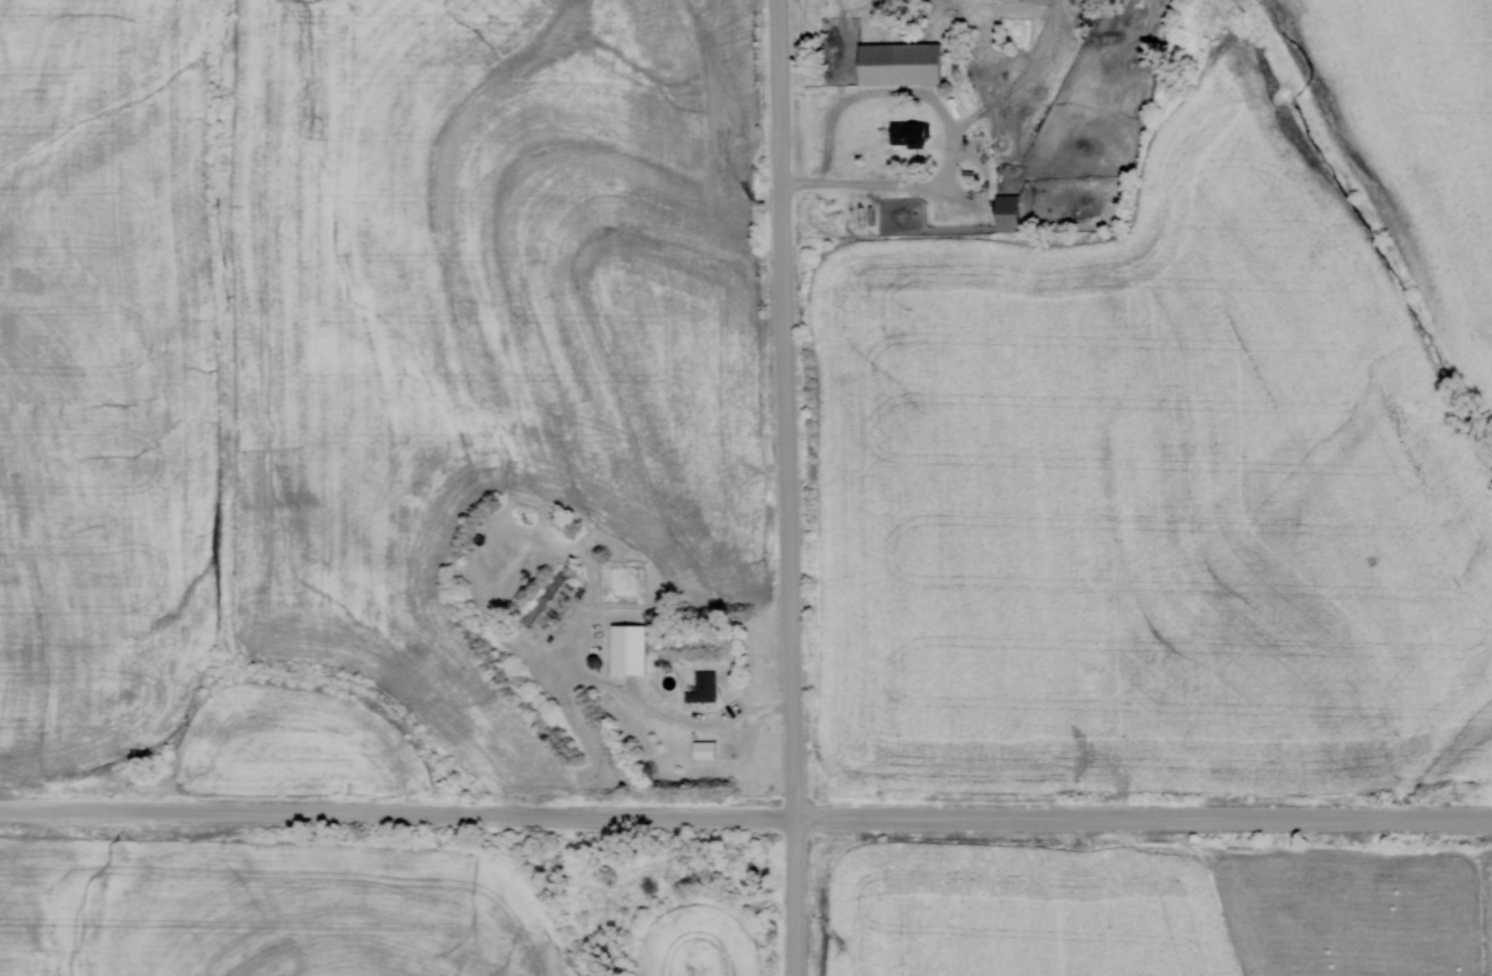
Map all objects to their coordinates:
building: (903, 64)
building: (918, 135)
building: (1011, 213)
road: (811, 487)
building: (632, 650)
building: (707, 688)
building: (707, 749)
road: (745, 817)

